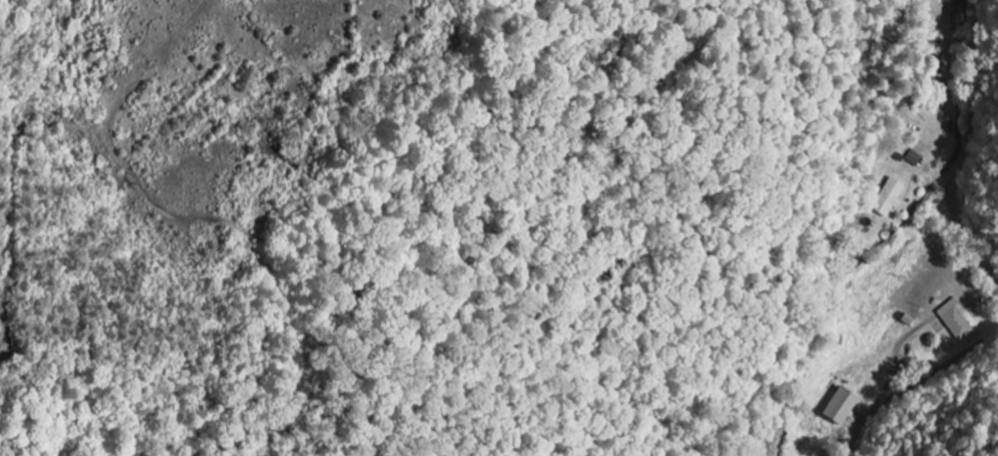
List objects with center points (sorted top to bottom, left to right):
building: (960, 3)
building: (913, 159)
building: (888, 199)
building: (955, 321)
building: (840, 408)
road: (868, 419)

